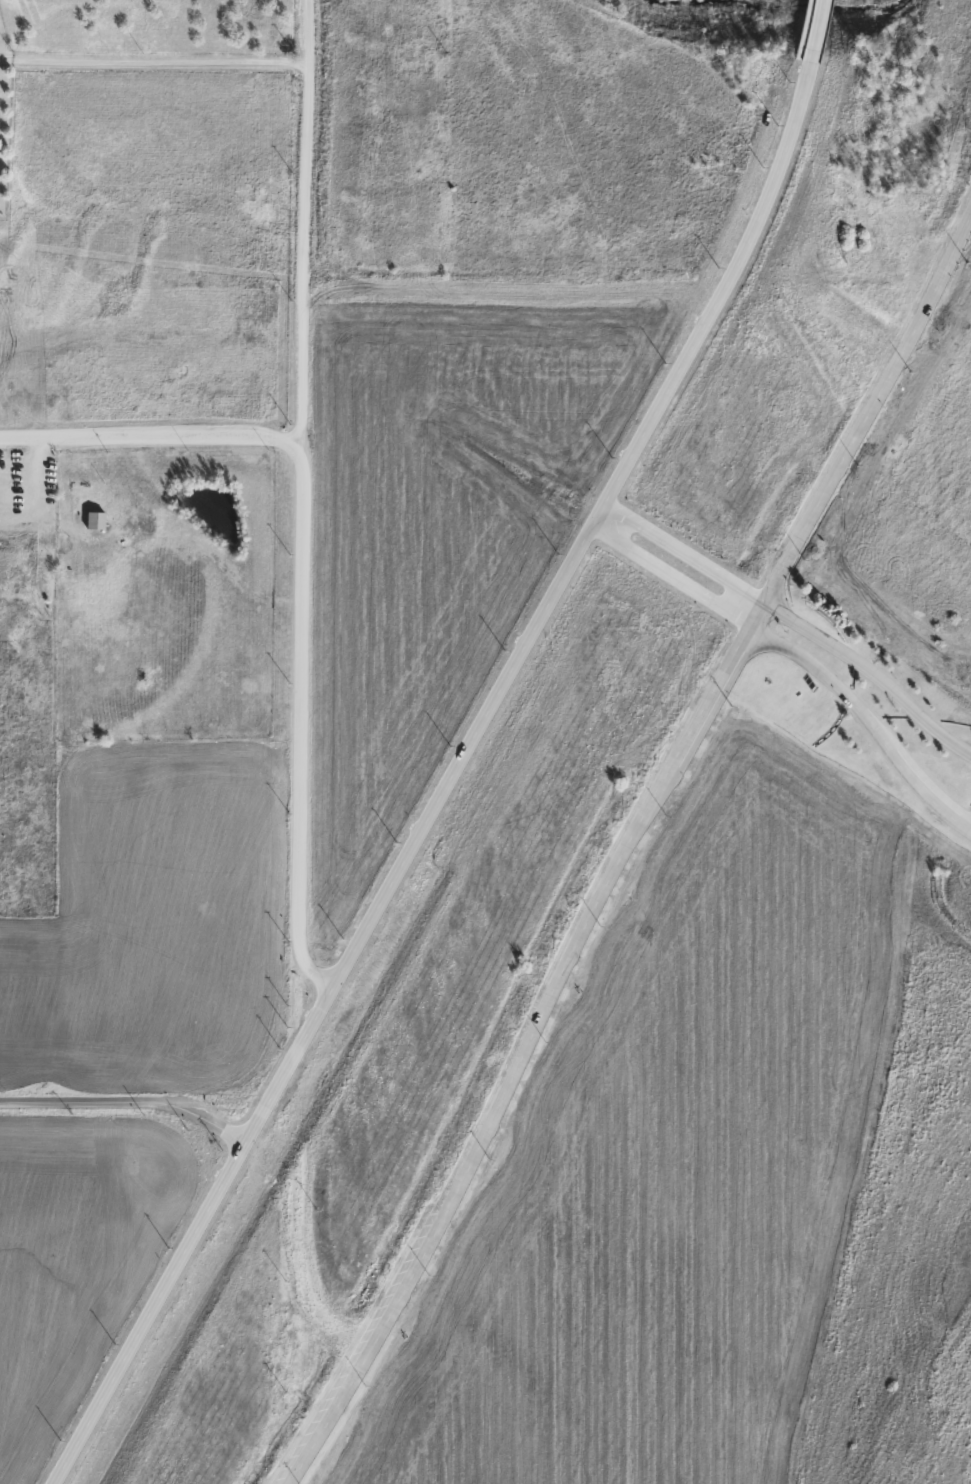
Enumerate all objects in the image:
road: (813, 28)
road: (153, 64)
road: (149, 433)
road: (299, 500)
building: (98, 521)
road: (794, 619)
road: (799, 652)
road: (449, 777)
road: (627, 849)
road: (127, 1102)
crop: (69, 1240)

